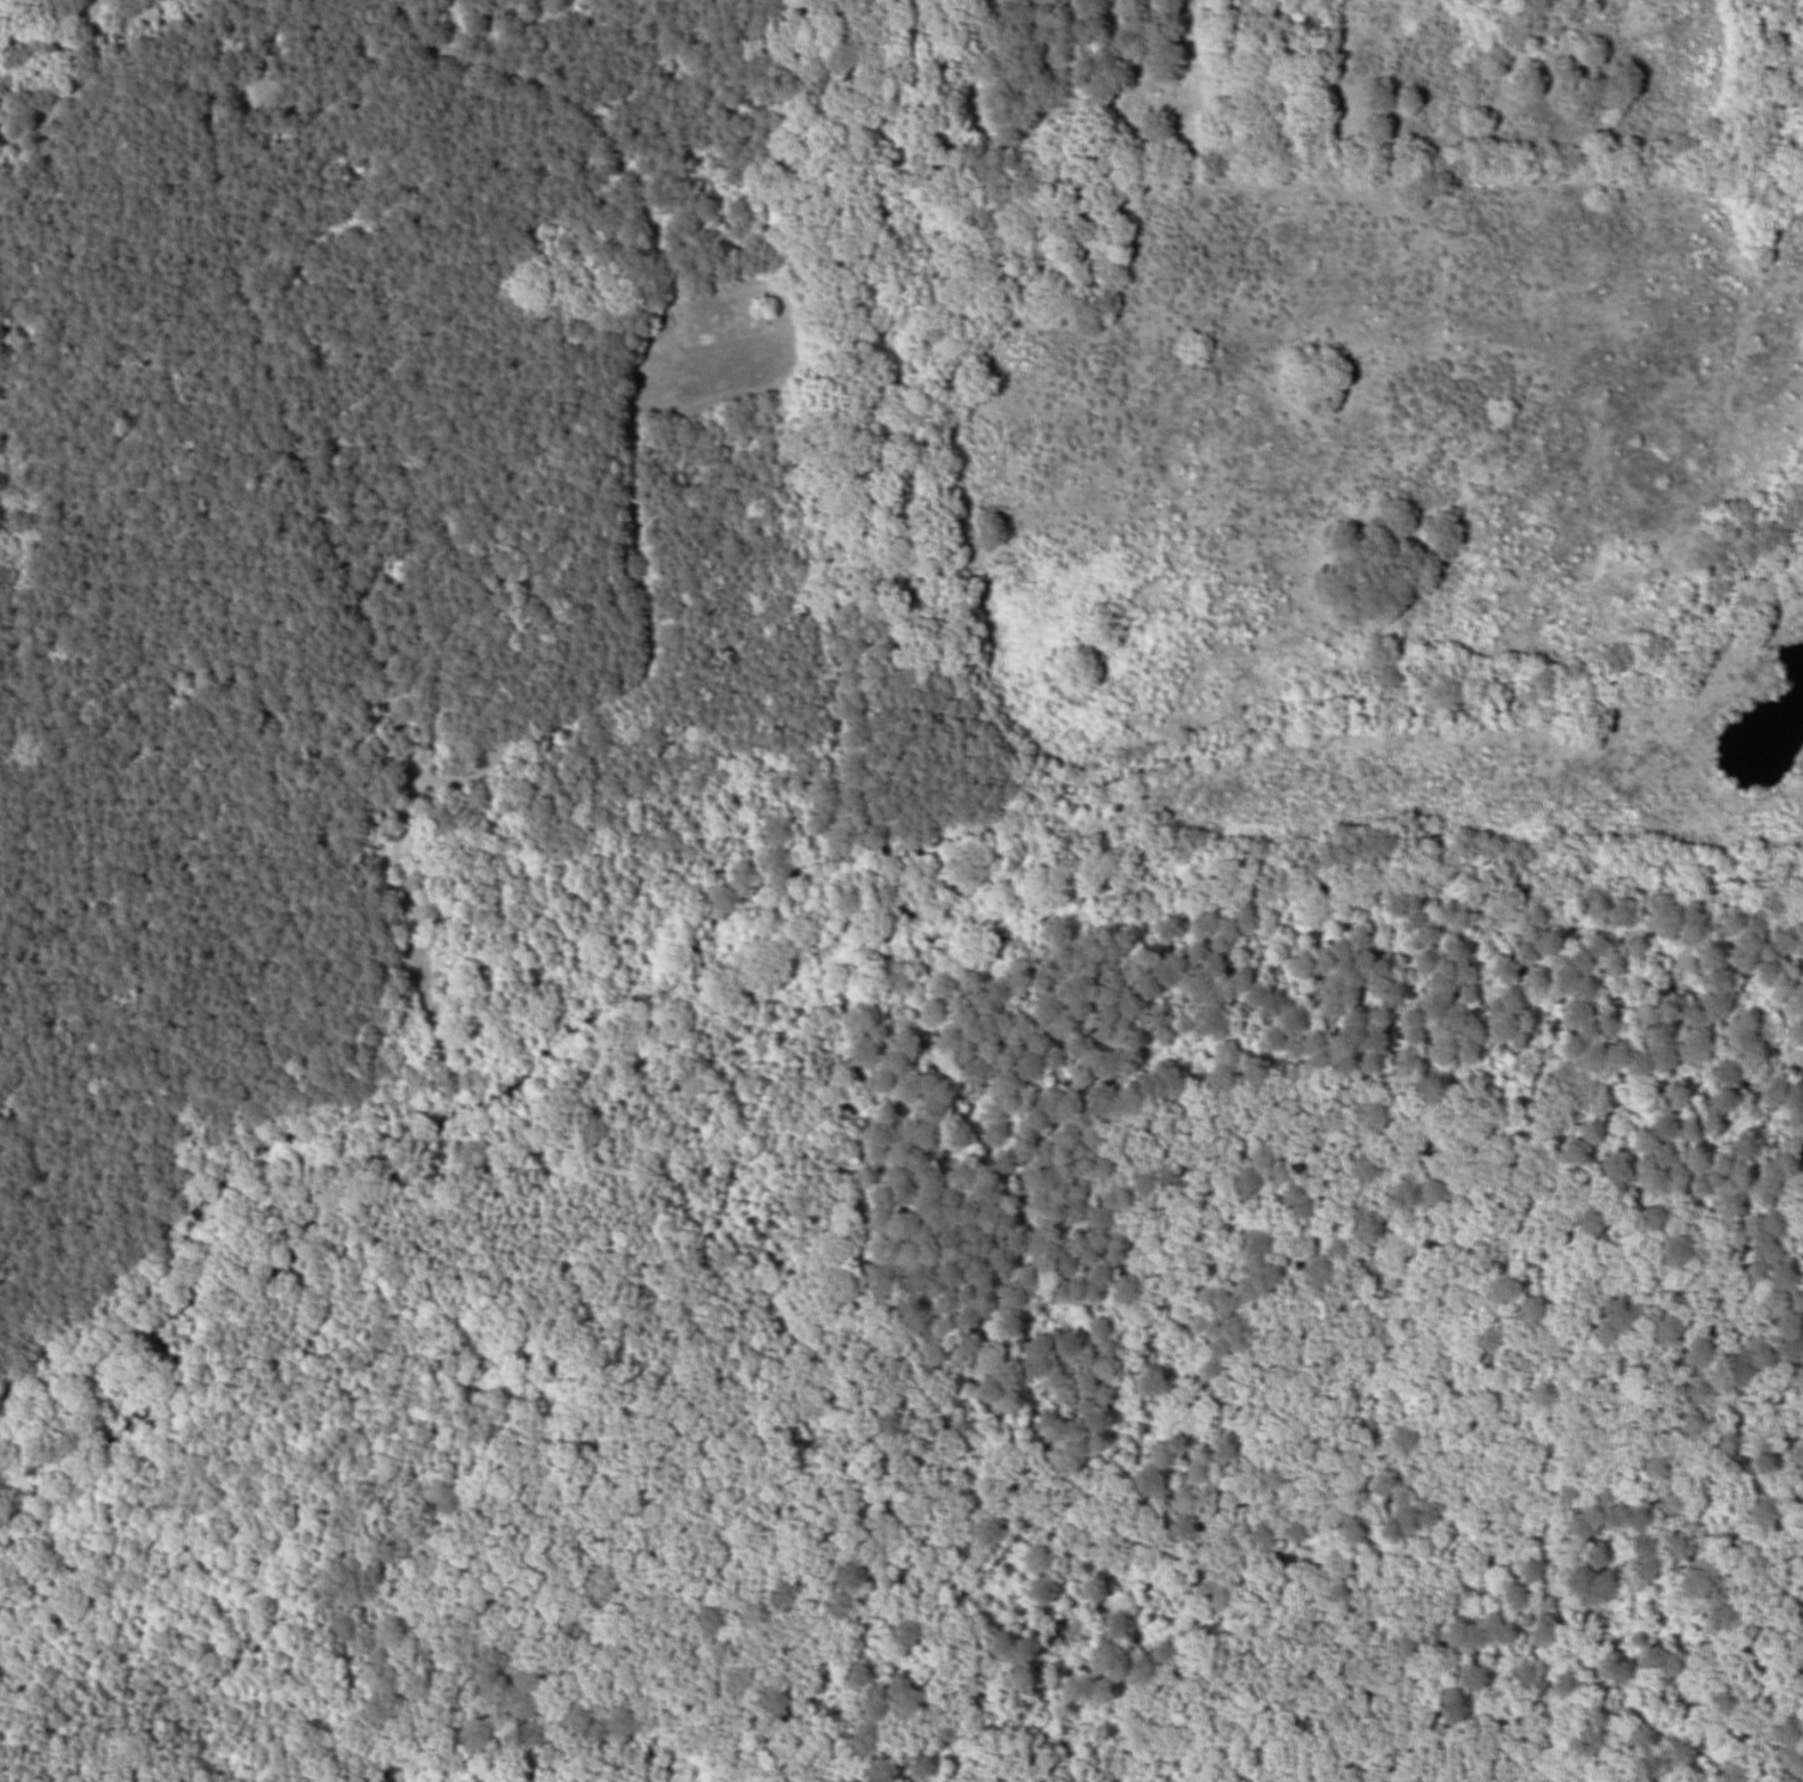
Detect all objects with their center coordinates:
road: (1742, 1697)

